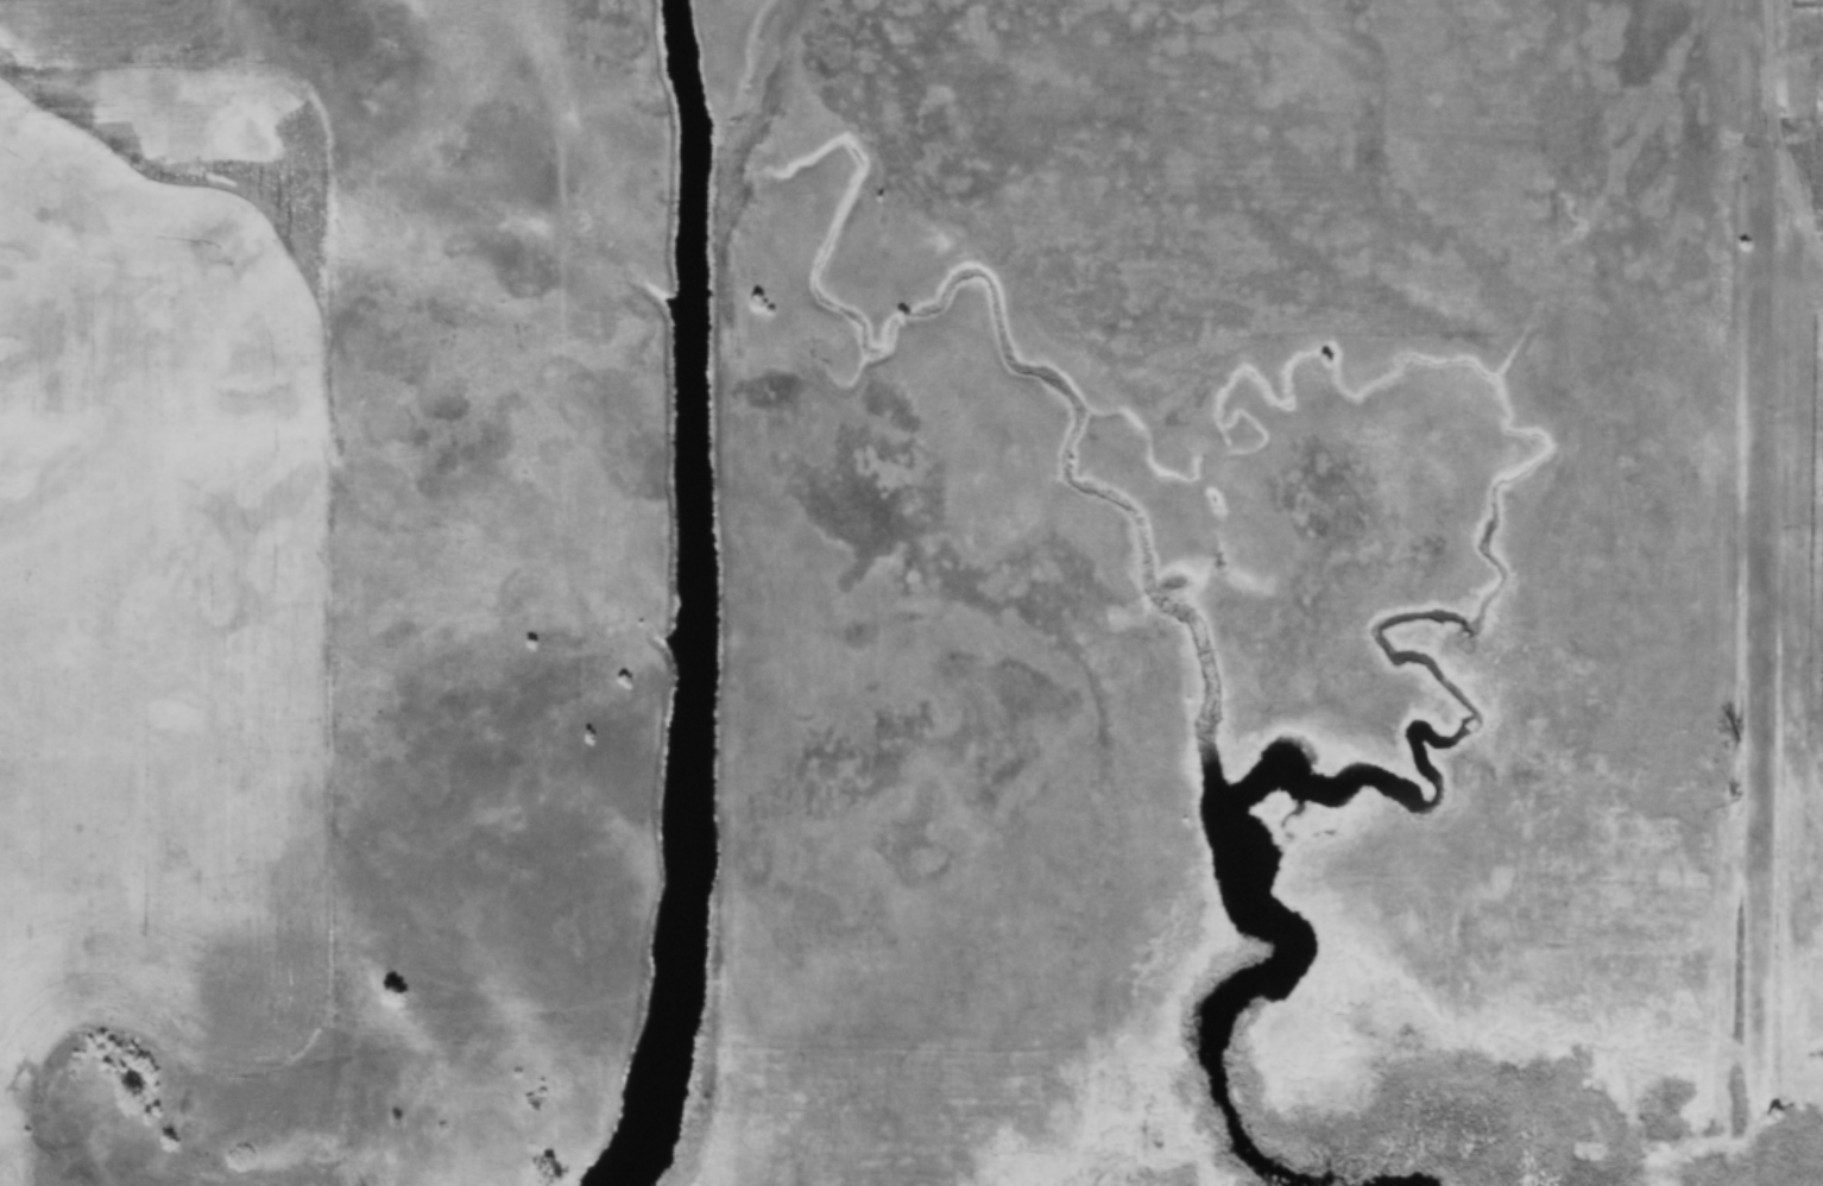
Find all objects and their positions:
road: (1774, 17)

